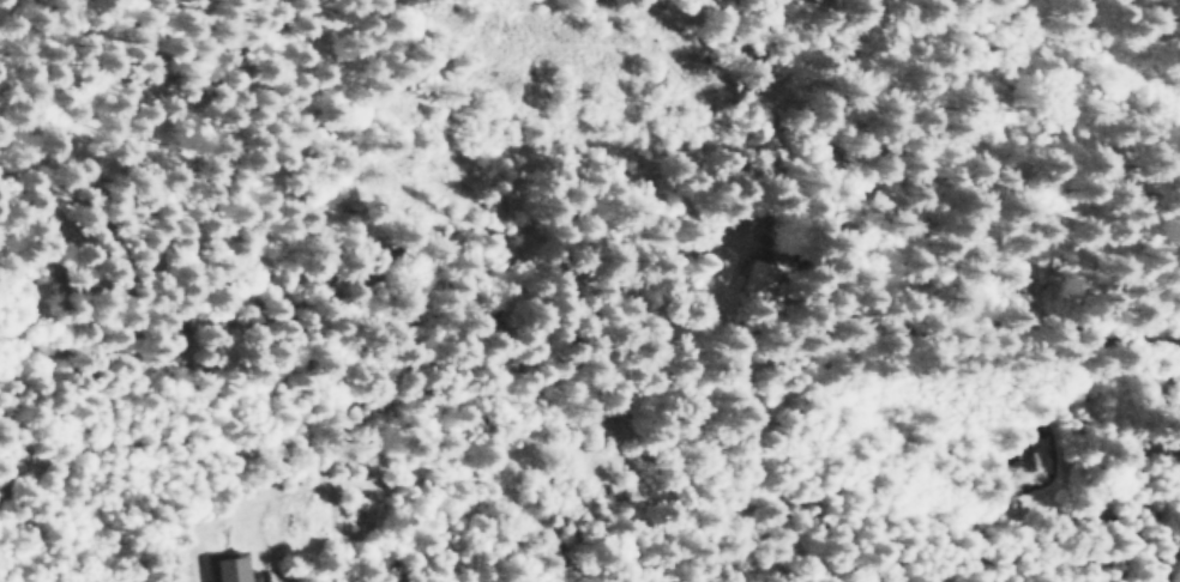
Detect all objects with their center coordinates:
road: (977, 25)
road: (42, 460)
building: (224, 568)

